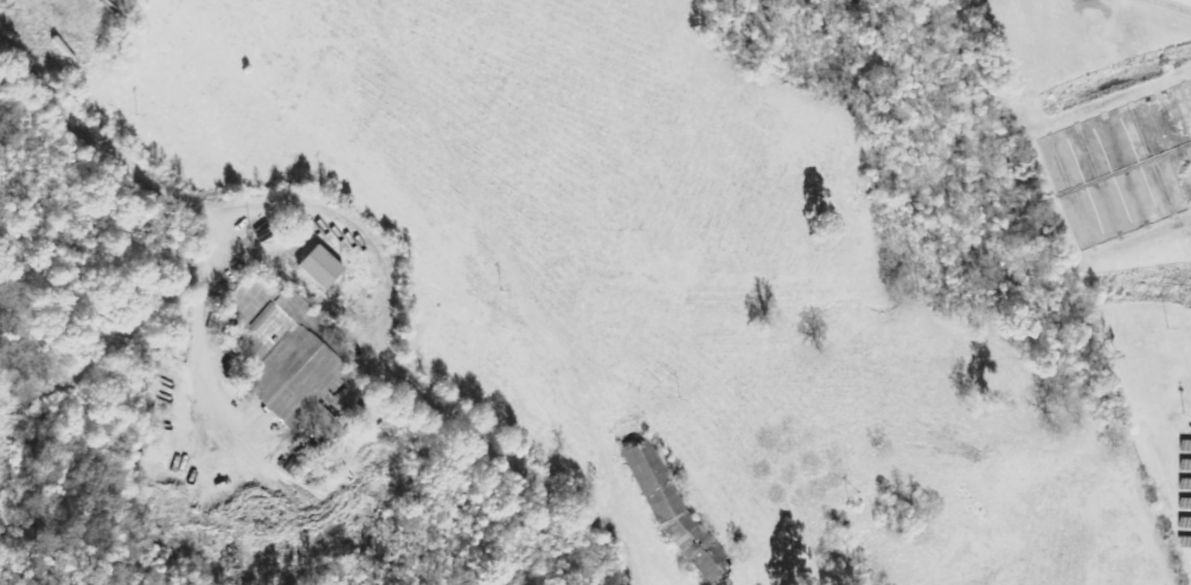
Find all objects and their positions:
road: (372, 242)
building: (320, 268)
building: (281, 352)
building: (673, 509)

